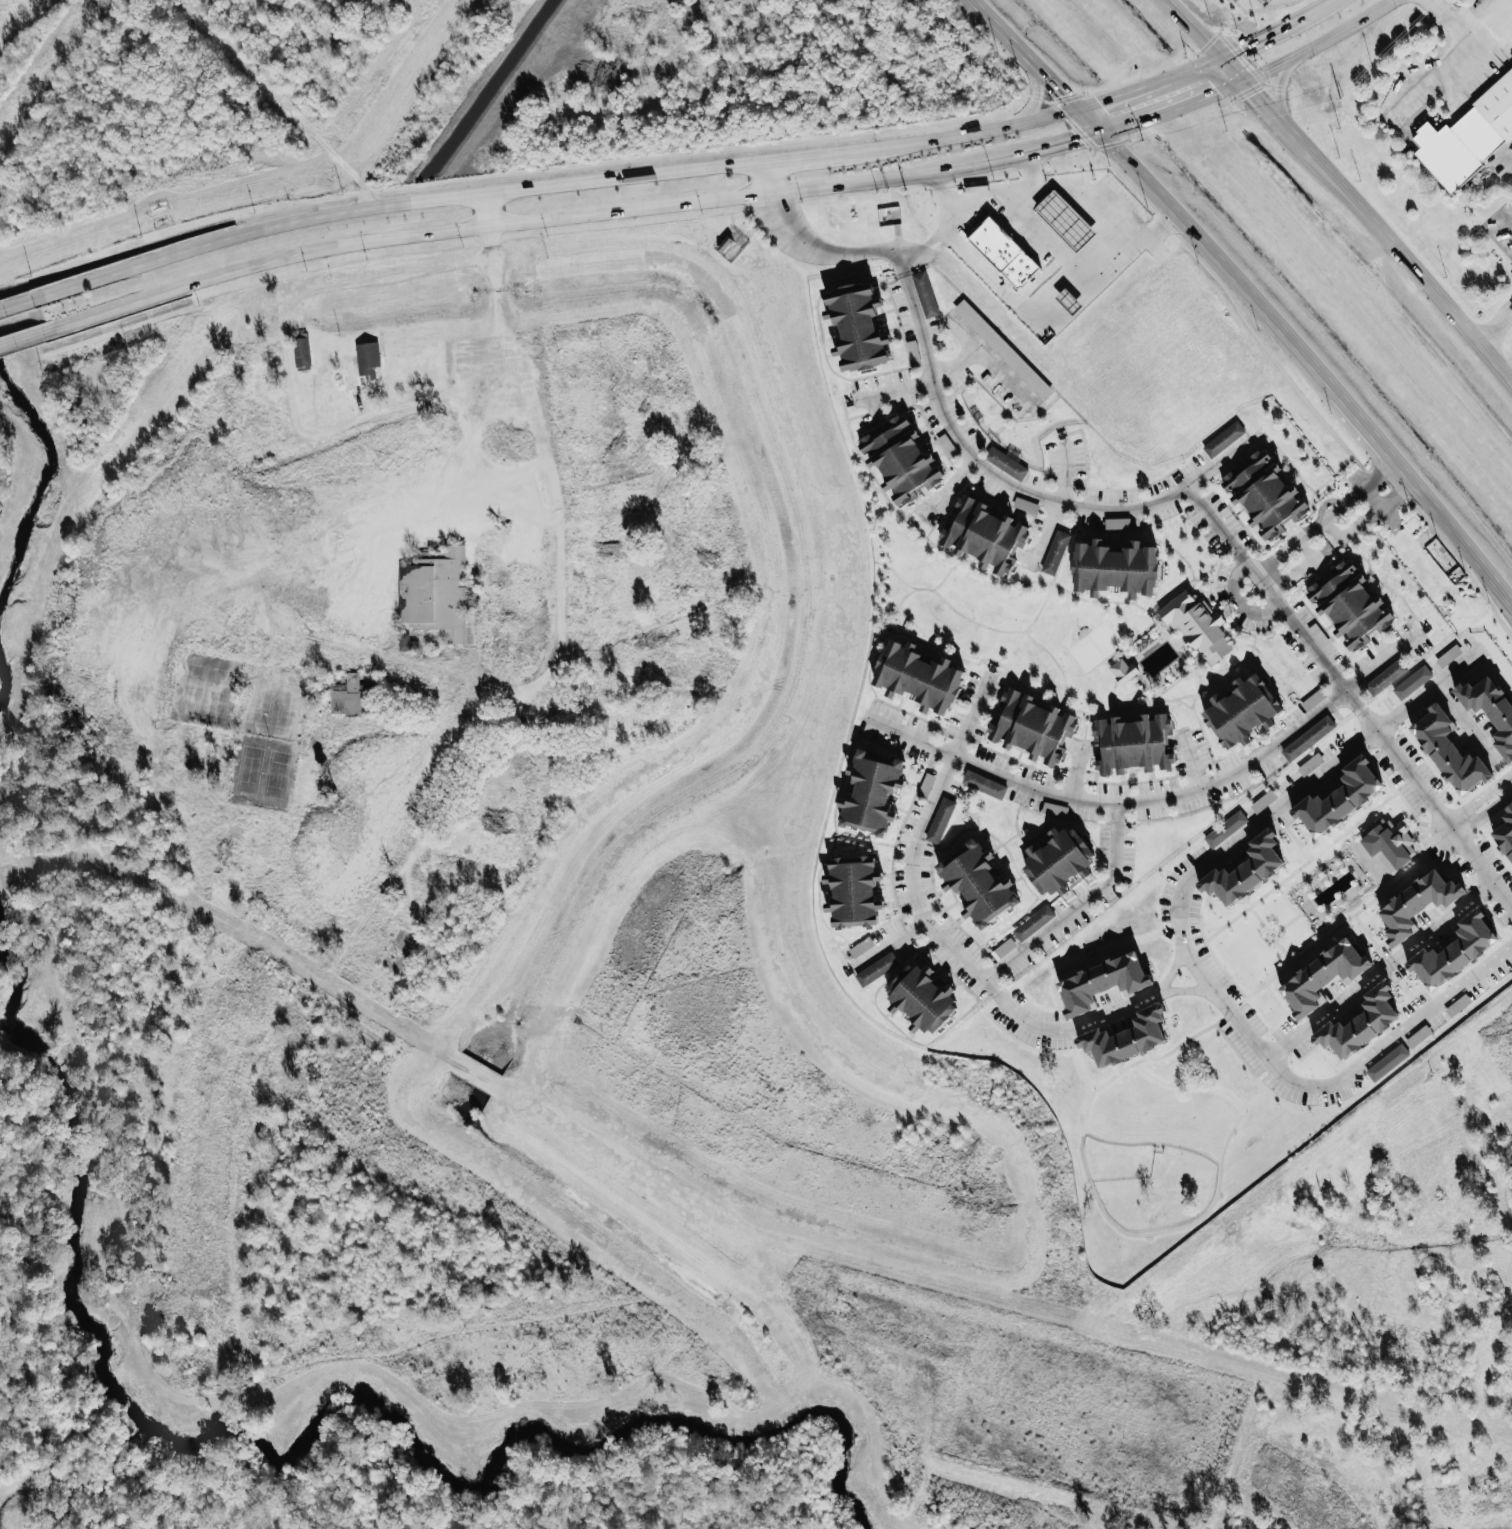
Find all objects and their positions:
road: (1205, 38)
road: (1472, 40)
road: (1317, 42)
road: (994, 44)
road: (1206, 60)
road: (1432, 76)
traffic signals: (1243, 78)
road: (1278, 89)
road: (1035, 92)
road: (1038, 98)
road: (1060, 100)
road: (1281, 121)
road: (1076, 127)
road: (1110, 127)
traffic signals: (1097, 132)
building: (1468, 135)
road: (1508, 160)
road: (769, 177)
road: (550, 185)
road: (985, 189)
road: (1087, 204)
road: (485, 209)
power substation: (888, 214)
road: (1026, 217)
building: (1065, 220)
road: (504, 224)
road: (923, 246)
road: (820, 248)
building: (1003, 252)
road: (1416, 271)
building: (925, 291)
road: (1229, 296)
road: (1250, 296)
road: (16, 302)
road: (1033, 305)
road: (1494, 320)
building: (858, 323)
road: (22, 337)
building: (1003, 346)
building: (913, 350)
road: (983, 354)
building: (367, 358)
road: (897, 387)
road: (287, 401)
building: (1223, 437)
building: (947, 445)
road: (1281, 453)
building: (902, 455)
building: (1005, 460)
road: (1212, 464)
road: (1380, 472)
road: (1379, 474)
road: (1064, 476)
road: (1358, 478)
river: (39, 480)
road: (957, 483)
building: (1263, 491)
road: (1396, 494)
road: (1372, 496)
building: (1025, 503)
road: (1388, 514)
road: (1214, 520)
building: (1117, 521)
road: (1294, 526)
road: (1310, 529)
building: (983, 530)
road: (1247, 547)
road: (1326, 549)
building: (1054, 550)
building: (1115, 564)
road: (1463, 566)
building: (437, 593)
building: (1353, 604)
building: (1196, 622)
building: (1318, 634)
park: (1094, 645)
building: (1449, 654)
building: (1123, 668)
building: (919, 671)
building: (1385, 674)
river: (4, 679)
building: (1412, 680)
building: (349, 696)
building: (1313, 698)
building: (1491, 705)
building: (1243, 708)
building: (1030, 722)
road: (1466, 723)
building: (1308, 736)
building: (1131, 740)
building: (1450, 748)
road: (1191, 759)
building: (1310, 763)
road: (1074, 769)
building: (983, 782)
building: (926, 784)
building: (871, 790)
building: (1339, 793)
road: (1160, 796)
road: (1479, 796)
building: (1262, 799)
building: (1053, 807)
road: (1483, 812)
building: (939, 818)
building: (1225, 826)
building: (1504, 828)
road: (914, 837)
building: (1390, 840)
road: (1423, 851)
building: (1058, 858)
road: (1299, 865)
building: (1245, 866)
building: (978, 881)
building: (854, 888)
building: (1418, 900)
road: (1077, 905)
building: (1033, 921)
road: (1285, 922)
road: (1327, 932)
road: (1269, 933)
road: (890, 938)
building: (860, 945)
road: (1182, 945)
building: (1454, 946)
building: (1003, 947)
road: (1175, 965)
building: (876, 967)
road: (1378, 969)
building: (1323, 972)
road: (1227, 975)
building: (1103, 977)
road: (1188, 988)
building: (923, 996)
building: (1457, 1004)
building: (1360, 1019)
road: (1278, 1021)
road: (1067, 1028)
road: (1302, 1030)
road: (1070, 1032)
building: (1126, 1034)
building: (1417, 1035)
road: (1024, 1044)
building: (1387, 1061)
road: (1188, 1086)
road: (1087, 1089)
road: (1091, 1090)
road: (1279, 1098)
road: (1083, 1115)
road: (1233, 1122)
road: (1151, 1142)
road: (1134, 1234)
river: (315, 1427)

